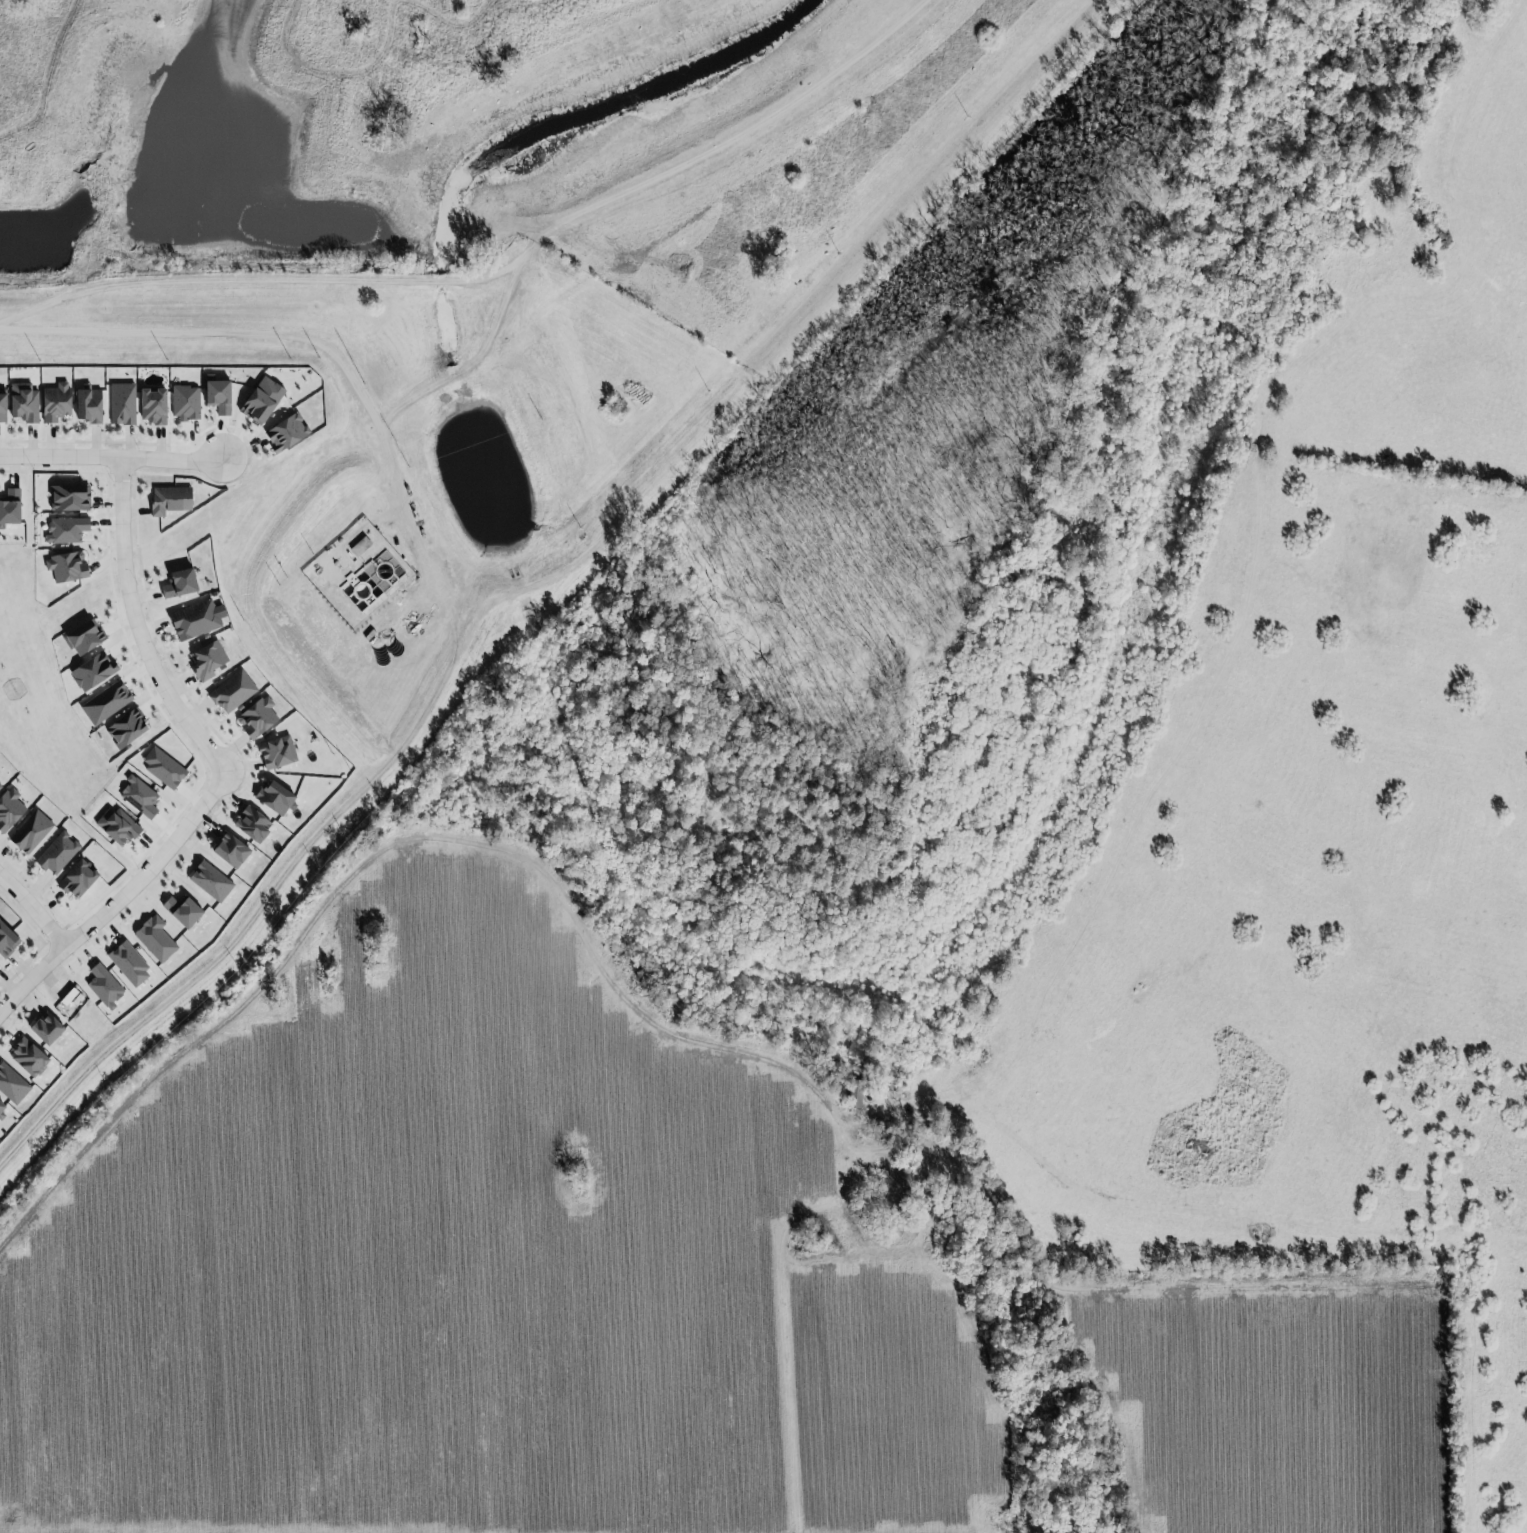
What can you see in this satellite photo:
road: (79, 84)
road: (287, 339)
building: (217, 396)
building: (261, 401)
building: (122, 402)
building: (23, 403)
building: (55, 403)
building: (89, 404)
building: (185, 404)
building: (2, 406)
building: (152, 406)
building: (285, 433)
road: (112, 459)
building: (69, 498)
building: (169, 500)
building: (9, 508)
building: (67, 530)
building: (360, 546)
building: (66, 568)
building: (178, 582)
building: (194, 620)
building: (82, 636)
building: (207, 660)
building: (91, 671)
building: (233, 692)
building: (105, 702)
building: (257, 716)
building: (125, 728)
building: (276, 752)
building: (162, 767)
road: (219, 769)
building: (0, 786)
building: (275, 797)
building: (139, 798)
building: (9, 808)
building: (251, 824)
building: (117, 825)
building: (31, 832)
building: (229, 850)
building: (57, 853)
building: (77, 878)
building: (210, 881)
road: (315, 887)
road: (34, 908)
building: (181, 911)
building: (7, 937)
building: (154, 938)
building: (128, 964)
building: (103, 986)
building: (71, 997)
building: (45, 1028)
building: (30, 1054)
building: (12, 1083)
building: (2, 1108)

